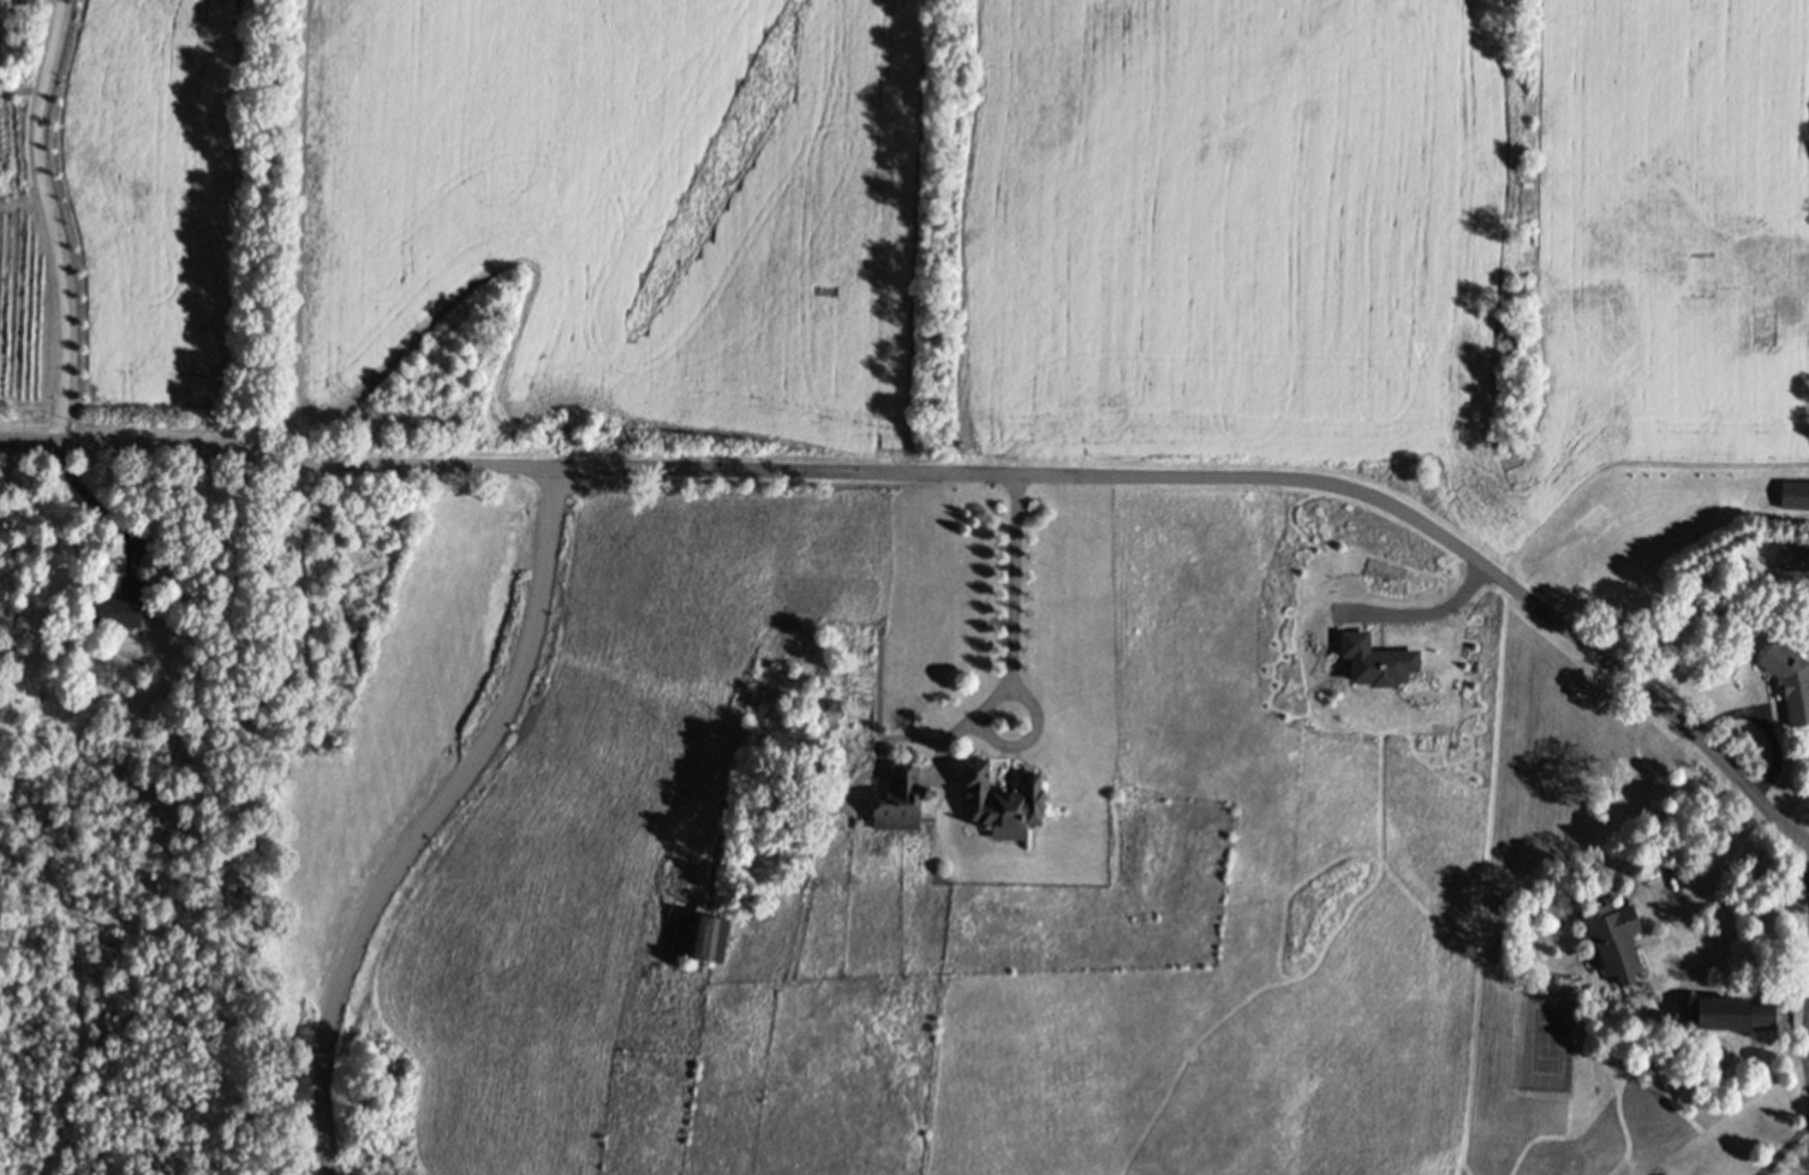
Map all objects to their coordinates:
road: (50, 221)
road: (965, 476)
road: (86, 503)
building: (1793, 556)
building: (119, 604)
road: (1011, 669)
building: (1789, 679)
building: (834, 703)
building: (831, 768)
building: (898, 799)
building: (1001, 801)
road: (431, 817)
road: (1807, 866)
road: (1717, 871)
building: (700, 937)
building: (1613, 938)
building: (1732, 1013)

